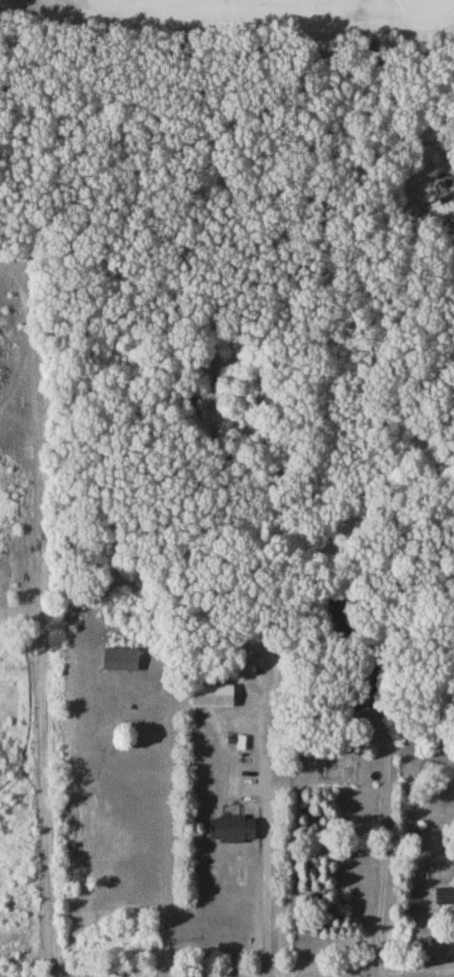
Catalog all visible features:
park: (228, 21)
building: (123, 663)
building: (215, 700)
road: (268, 798)
building: (236, 831)
road: (387, 834)
building: (445, 898)

